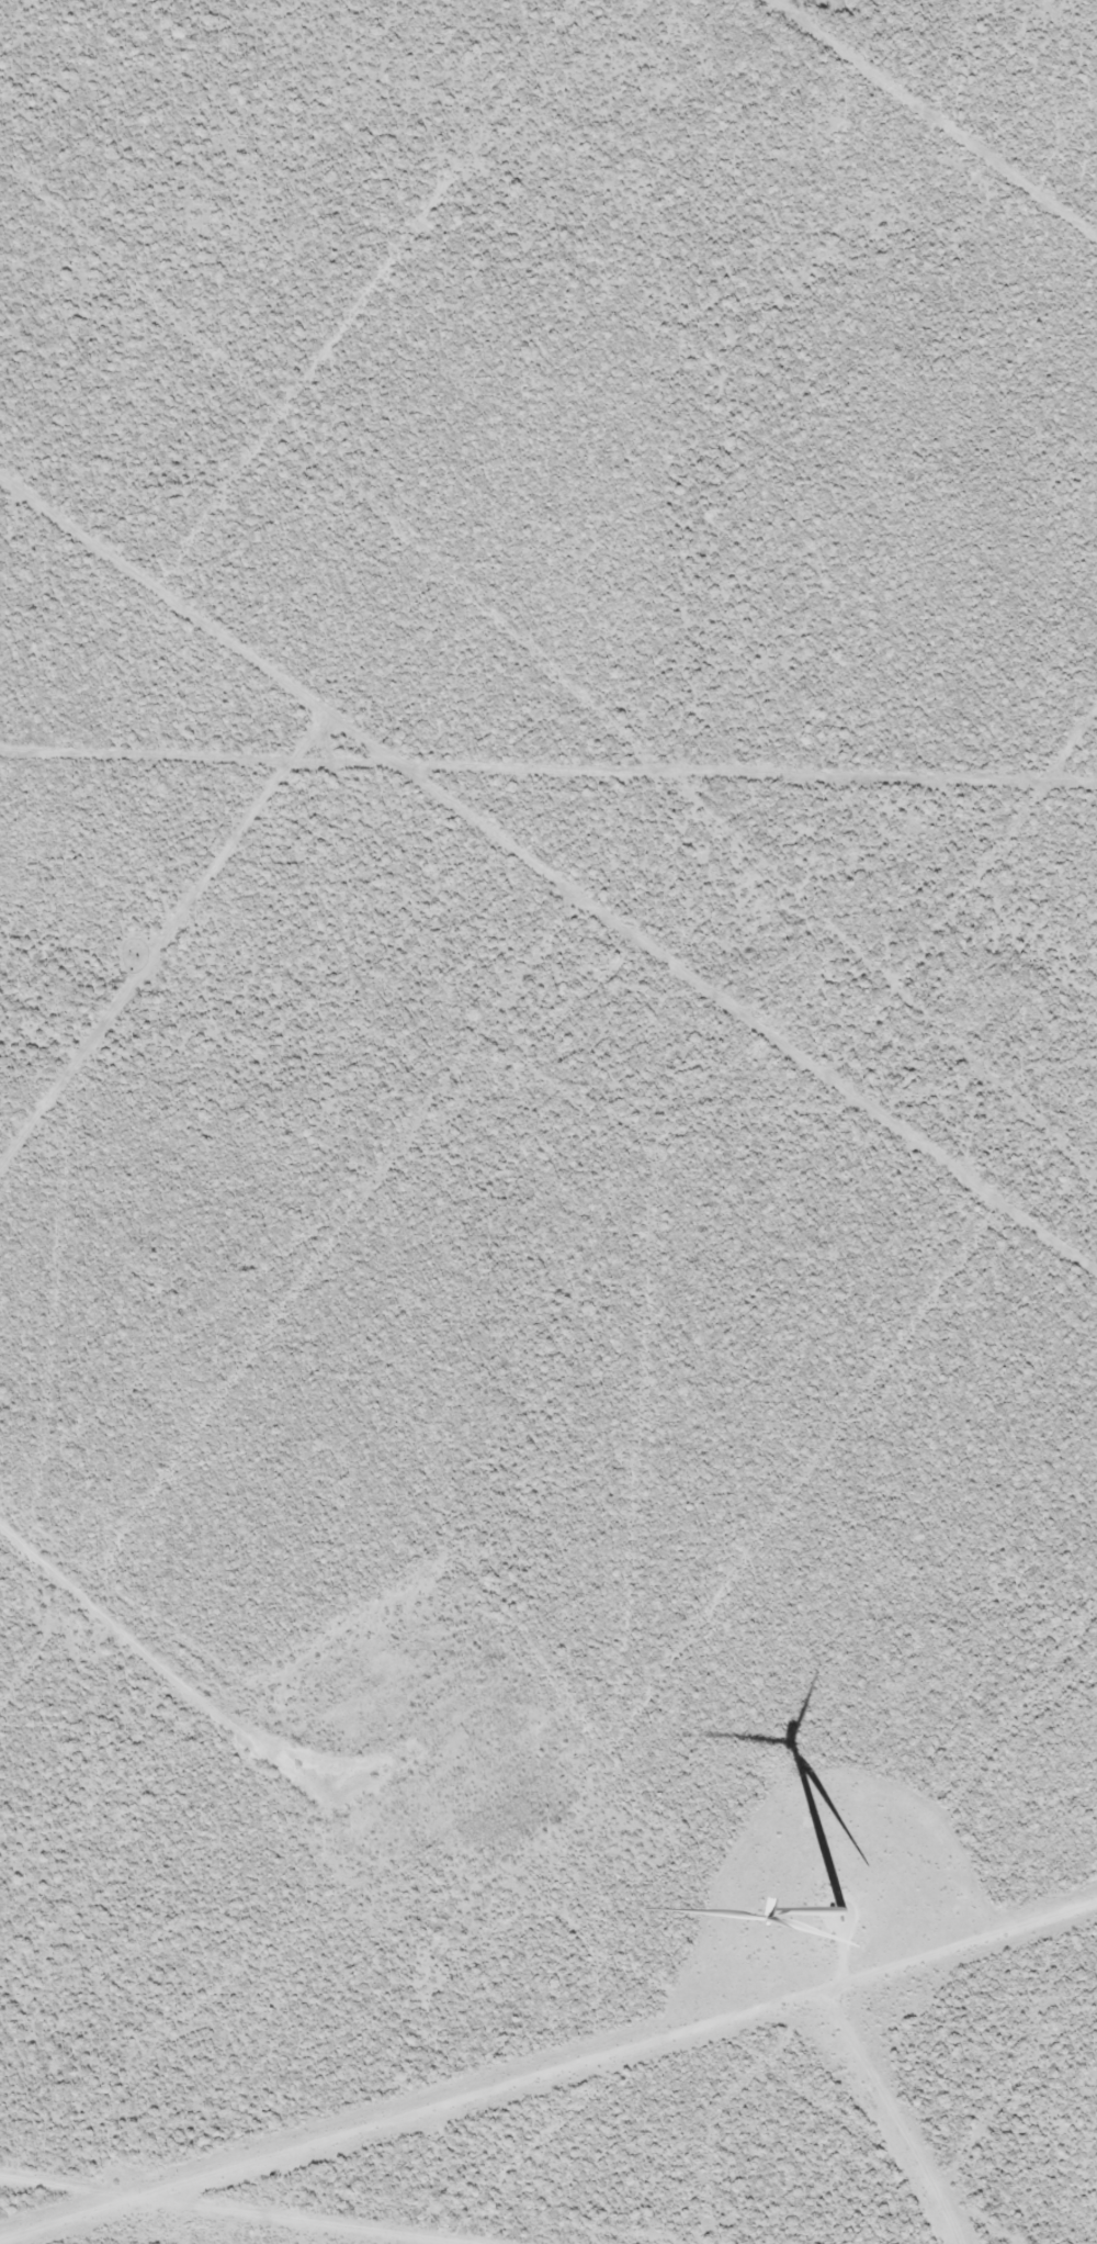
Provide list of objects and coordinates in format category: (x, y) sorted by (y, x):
wind turbine: (830, 1933)

